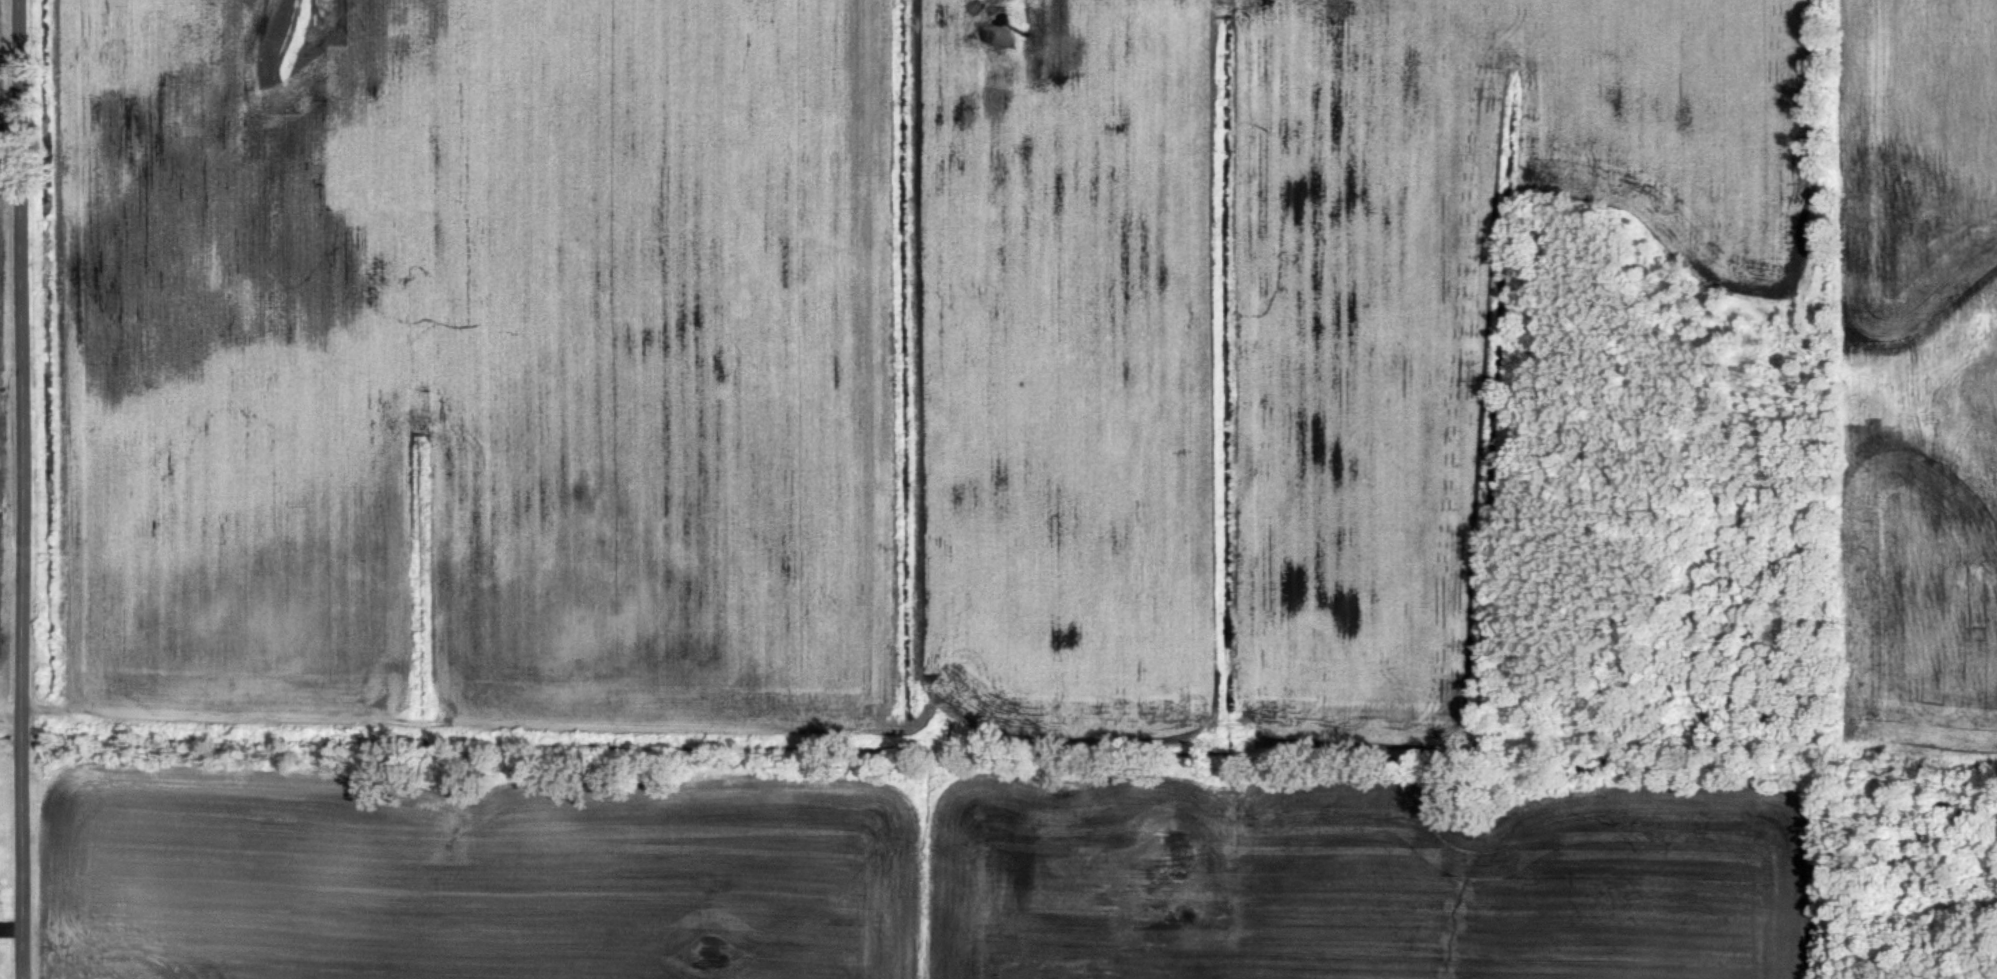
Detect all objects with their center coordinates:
road: (27, 489)

